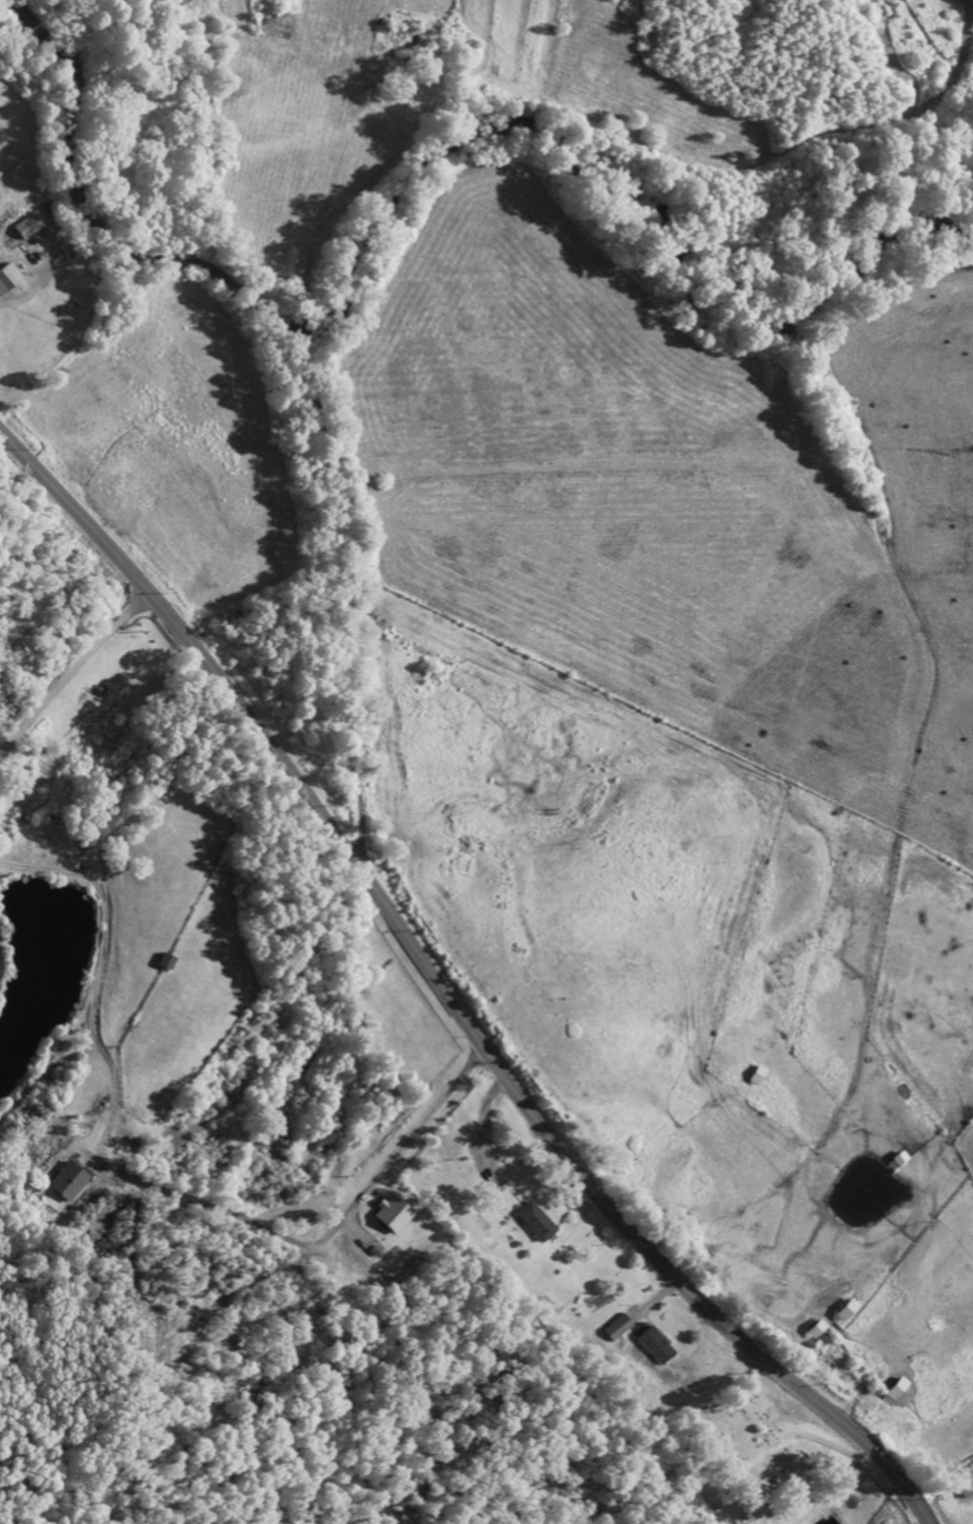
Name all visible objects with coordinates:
building: (31, 227)
building: (169, 964)
road: (444, 996)
building: (71, 1183)
building: (396, 1216)
building: (537, 1224)
building: (849, 1313)
building: (618, 1329)
building: (819, 1332)
building: (658, 1348)

